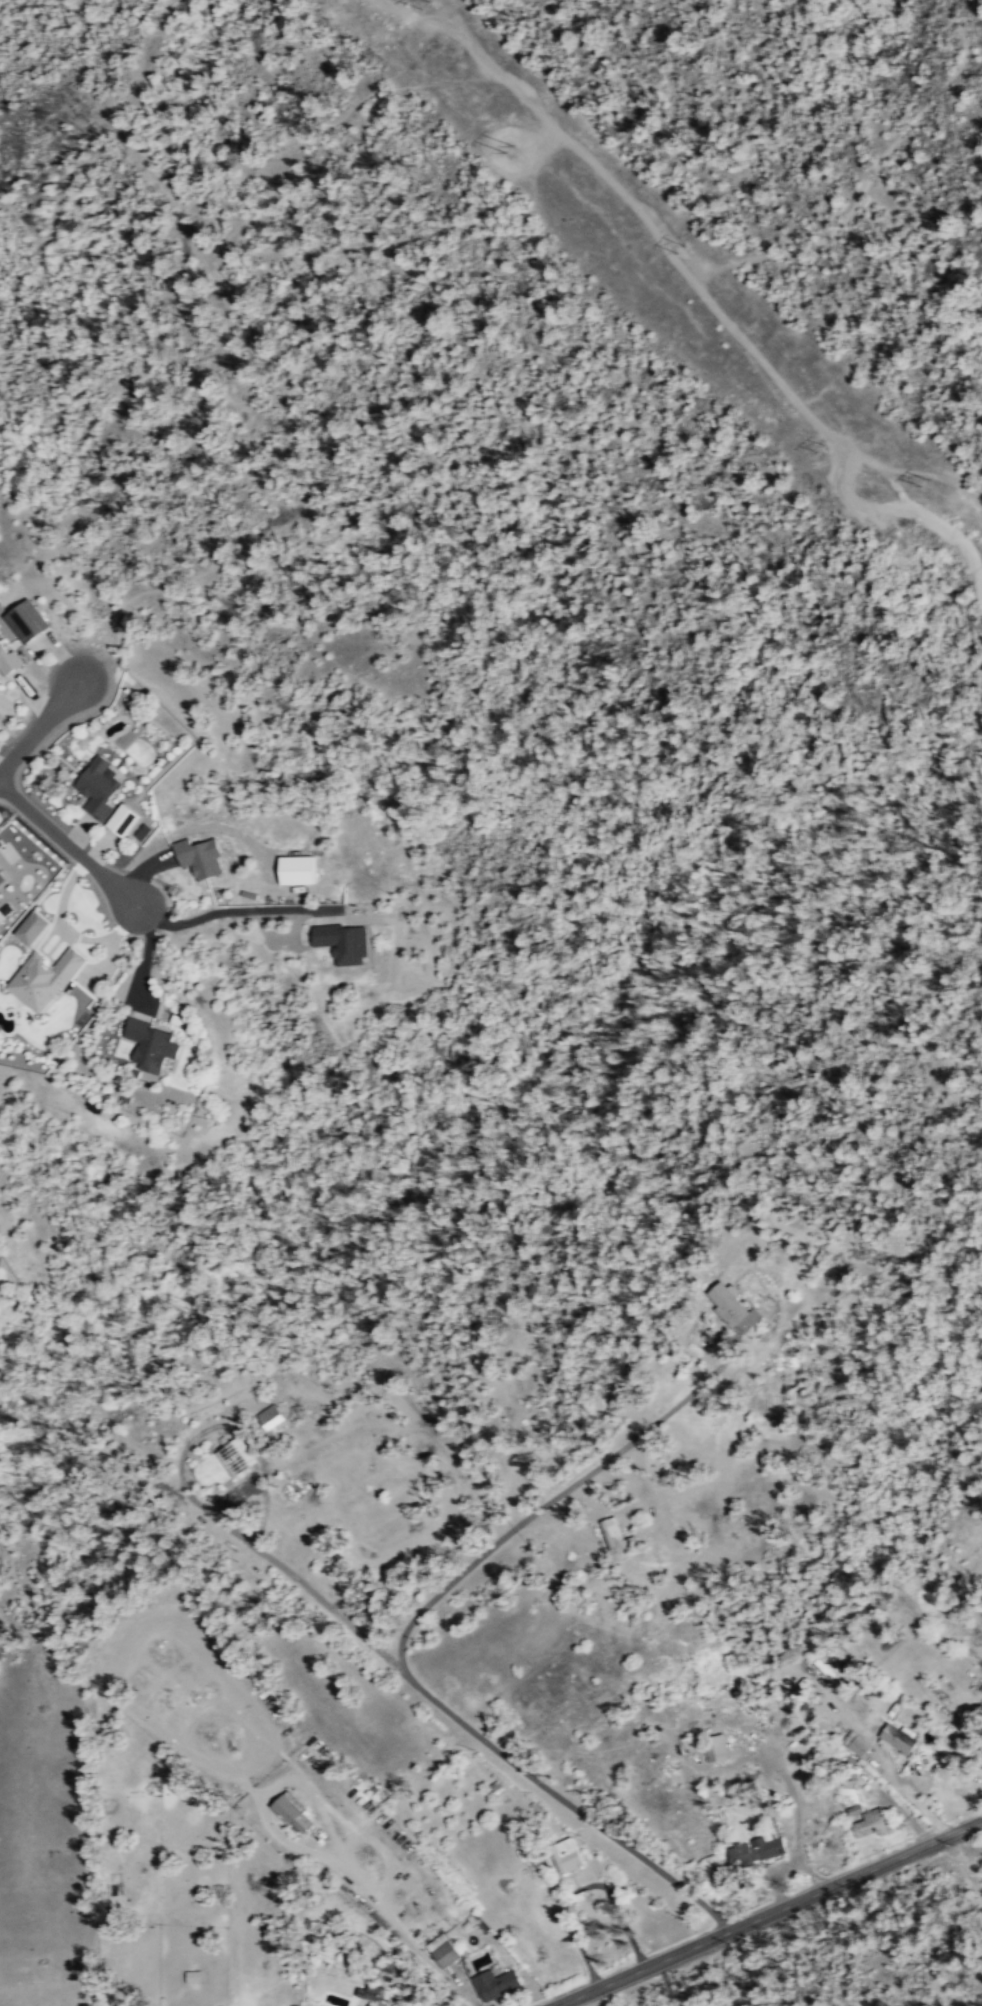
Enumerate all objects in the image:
power tower: (429, 4)
road: (551, 121)
power tower: (515, 156)
road: (871, 173)
power tower: (682, 247)
road: (223, 341)
road: (830, 436)
power tower: (820, 454)
power tower: (921, 484)
building: (28, 621)
building: (9, 661)
road: (42, 725)
building: (99, 787)
building: (125, 820)
road: (67, 843)
building: (201, 857)
building: (298, 870)
building: (2, 878)
road: (234, 909)
building: (33, 928)
building: (343, 942)
road: (146, 954)
building: (45, 979)
building: (153, 1045)
building: (730, 1305)
building: (271, 1416)
building: (236, 1456)
road: (192, 1494)
building: (615, 1537)
building: (857, 1701)
building: (896, 1735)
building: (854, 1742)
road: (492, 1746)
building: (713, 1746)
building: (286, 1809)
building: (869, 1822)
building: (754, 1848)
building: (564, 1855)
road: (767, 1913)
building: (439, 1950)
building: (190, 1976)
building: (492, 1984)

